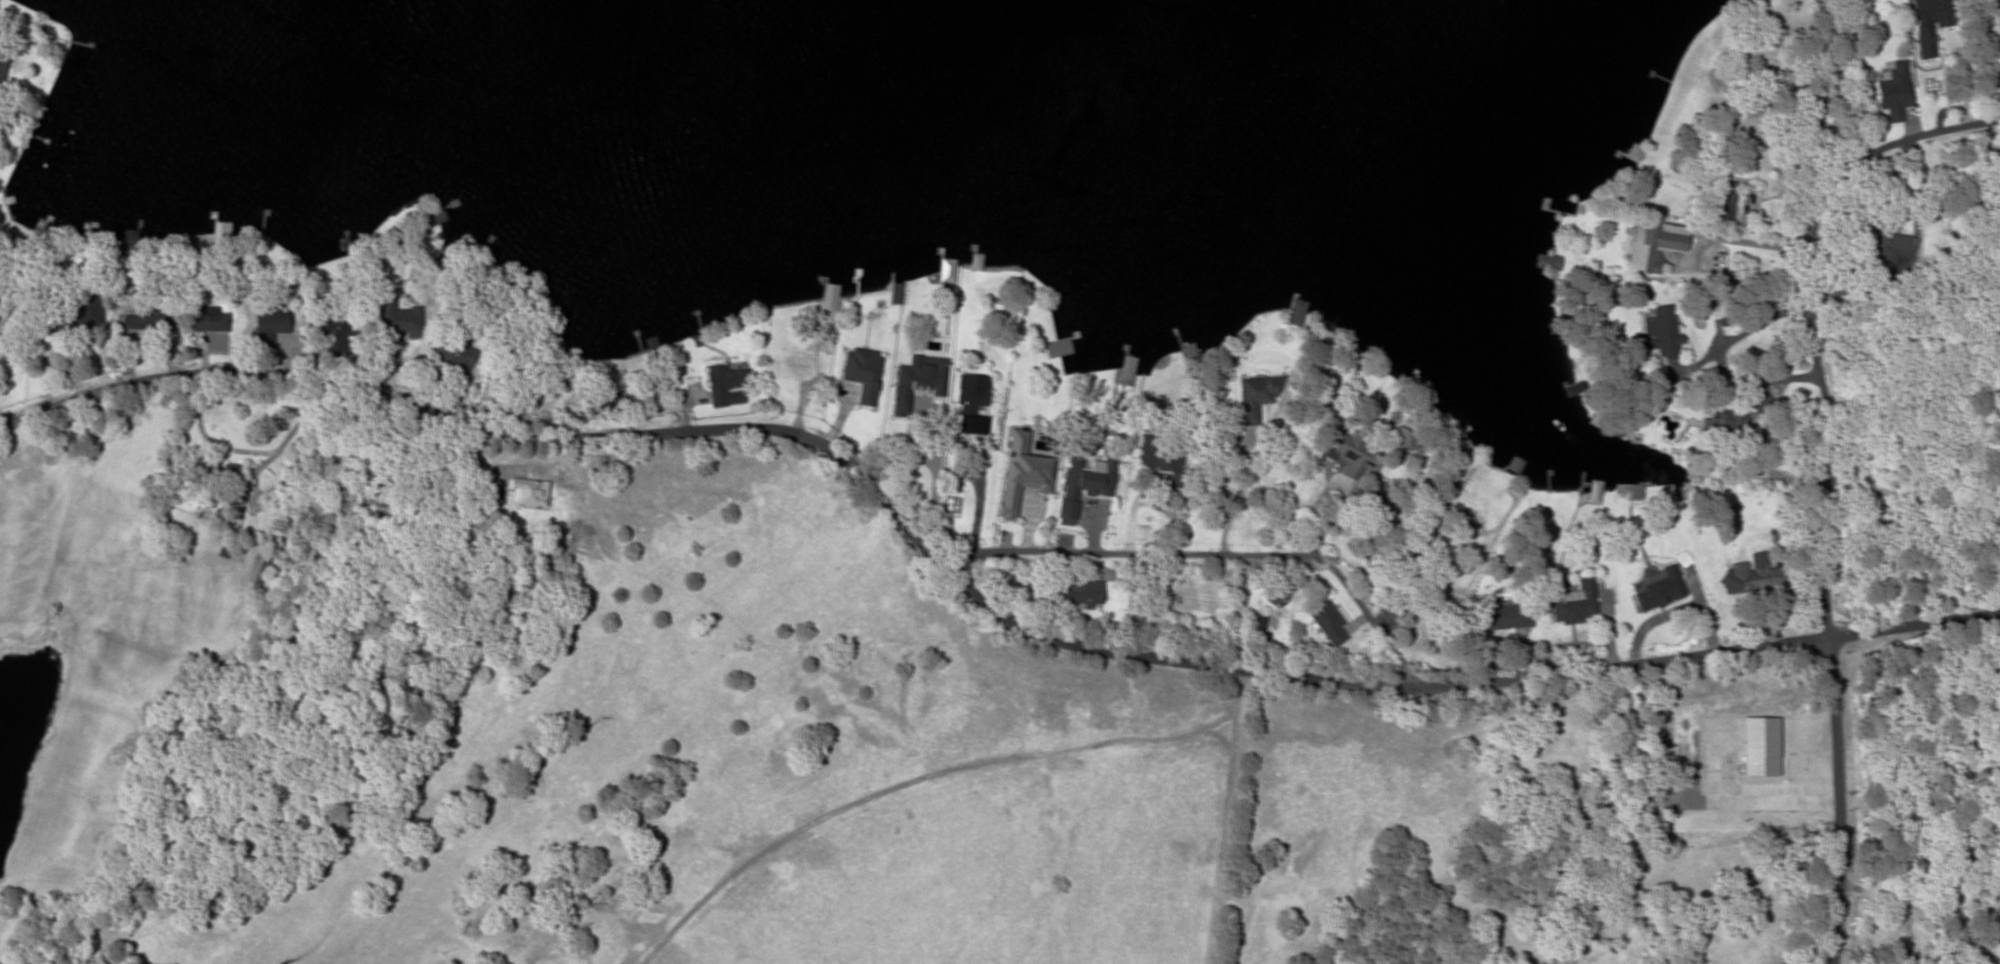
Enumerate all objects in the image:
building: (1930, 23)
building: (4, 63)
building: (1894, 92)
building: (1721, 198)
building: (434, 217)
building: (1889, 245)
building: (1656, 249)
building: (975, 262)
building: (896, 294)
building: (830, 296)
building: (90, 312)
building: (1293, 314)
building: (149, 316)
building: (395, 319)
building: (330, 320)
building: (209, 322)
road: (1819, 322)
building: (269, 327)
building: (1662, 333)
building: (1060, 348)
building: (455, 355)
building: (796, 363)
building: (920, 365)
building: (857, 371)
building: (726, 386)
building: (971, 397)
building: (1253, 398)
building: (1718, 425)
building: (1160, 456)
building: (1355, 457)
building: (198, 472)
building: (230, 474)
building: (1022, 488)
building: (1086, 493)
building: (232, 496)
building: (1447, 548)
road: (1209, 556)
building: (255, 571)
building: (1754, 577)
building: (1659, 590)
road: (972, 593)
building: (1077, 593)
building: (1576, 605)
building: (1499, 618)
building: (1327, 624)
road: (1230, 700)
road: (1846, 801)
building: (1959, 856)

